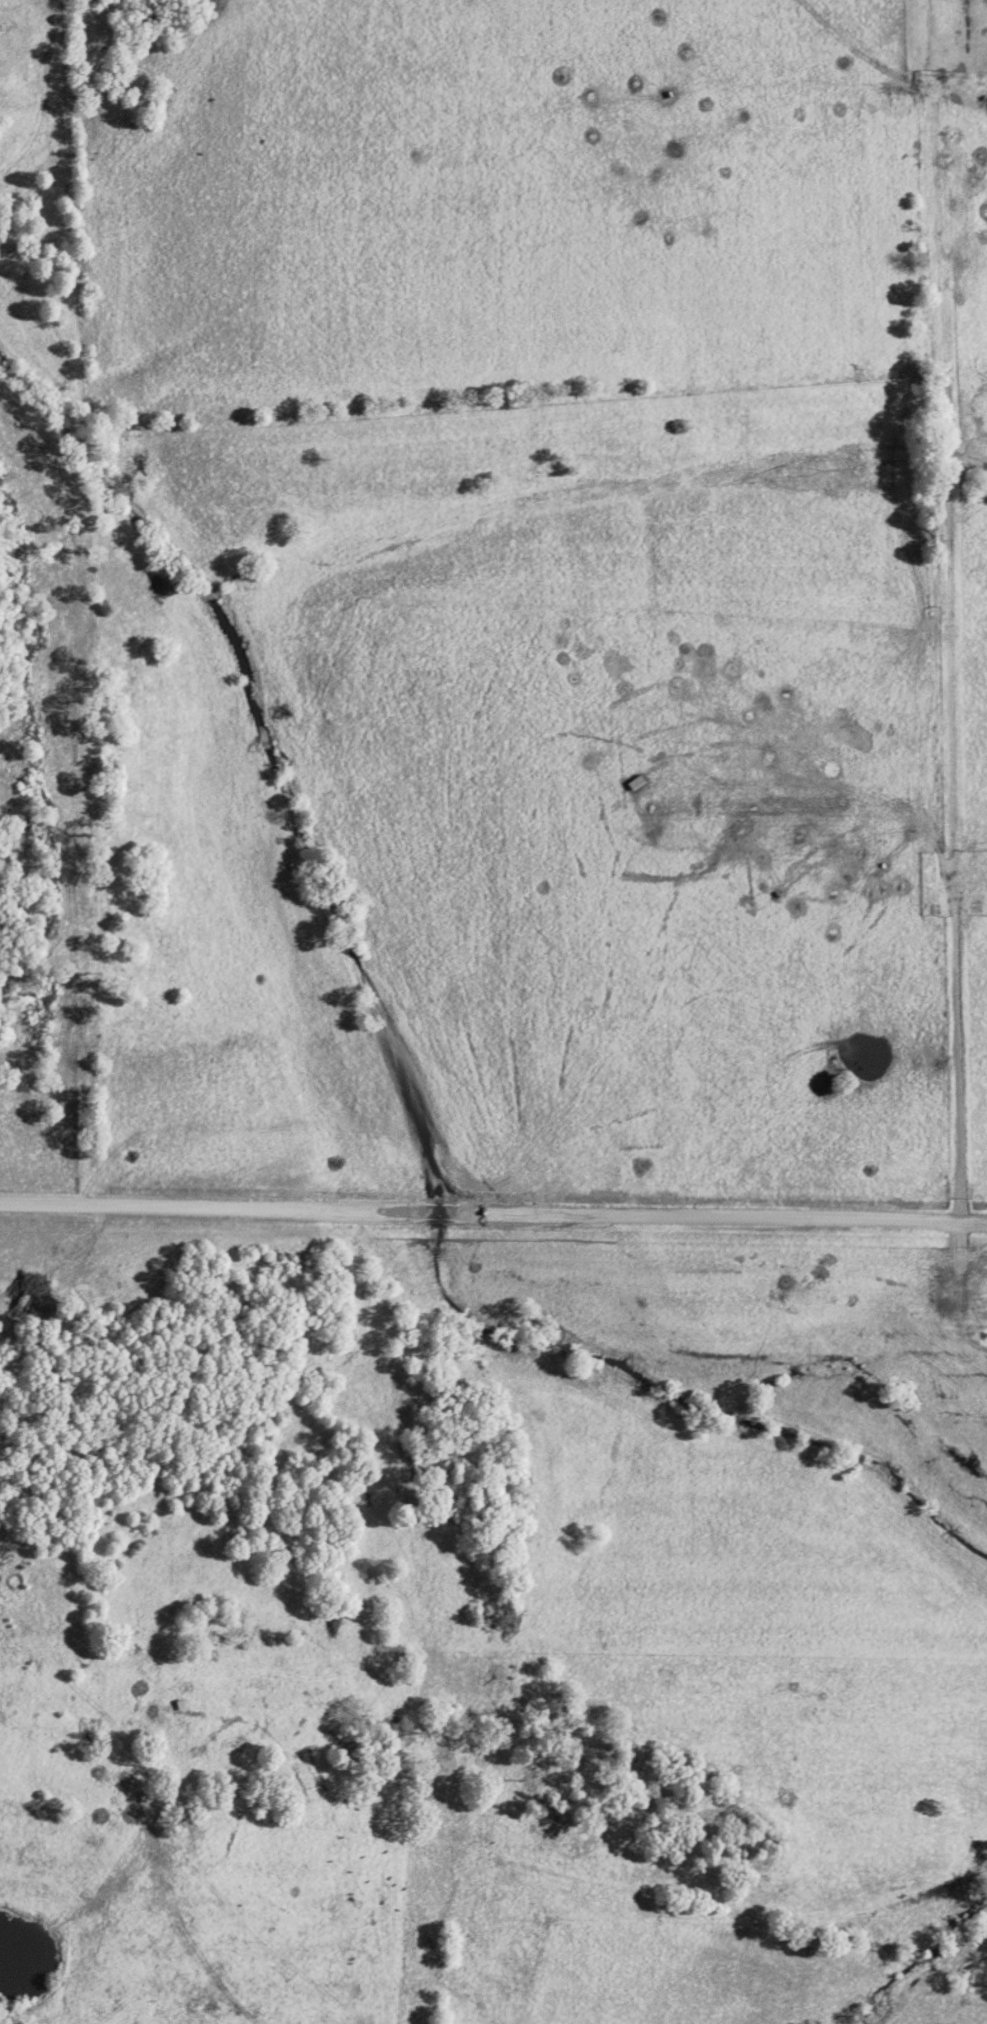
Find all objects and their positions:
road: (335, 911)
road: (493, 1215)
crop: (344, 1960)

